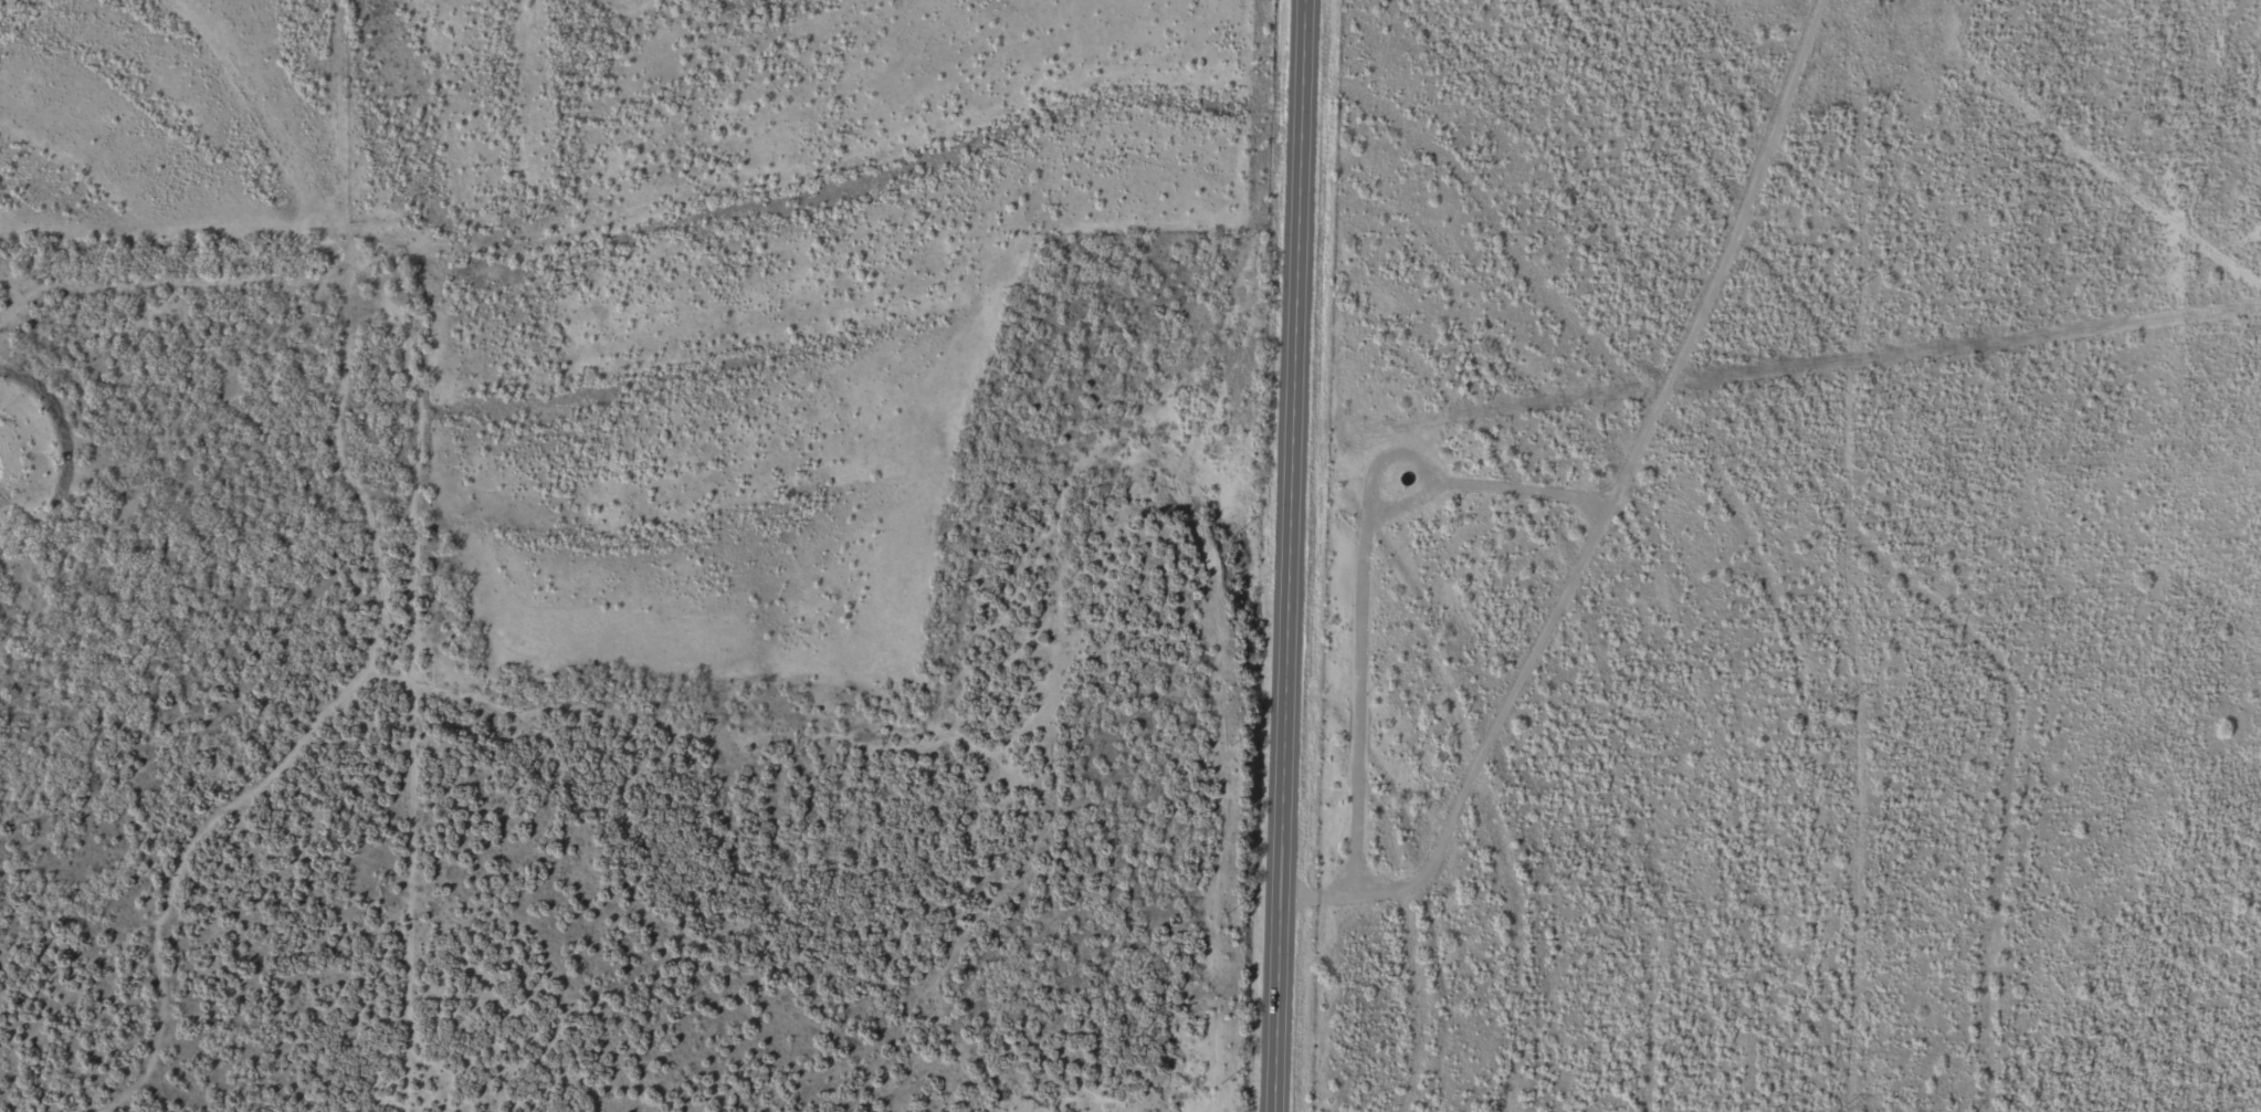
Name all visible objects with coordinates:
power tower: (1842, 295)
road: (1294, 556)
power tower: (1838, 706)

